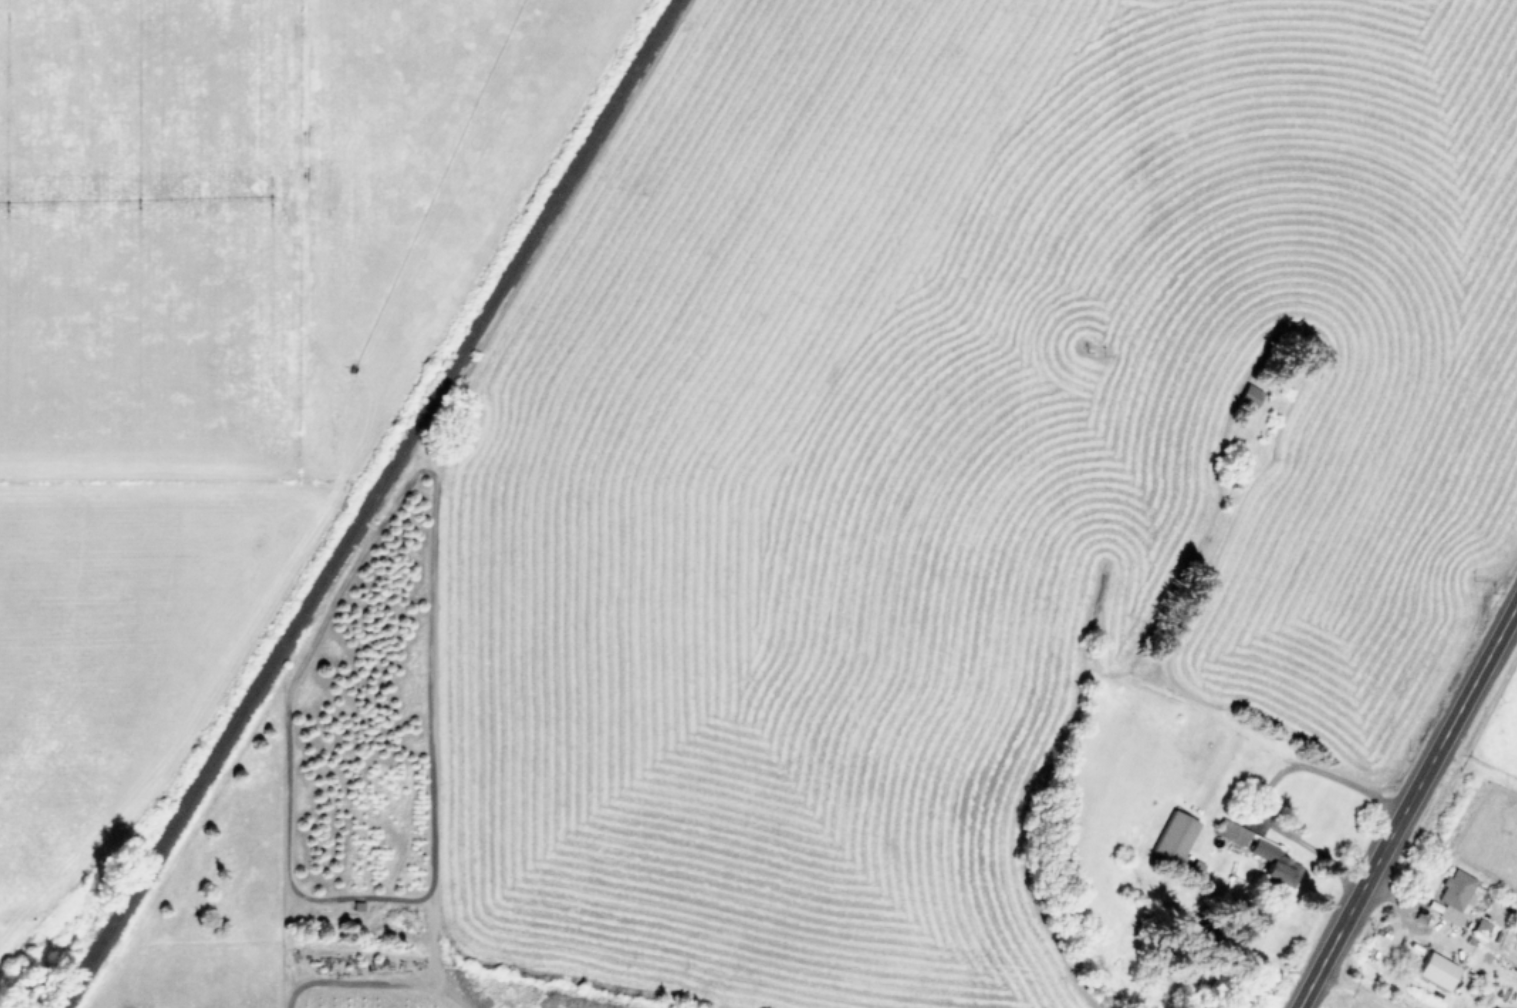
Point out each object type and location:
building: (1247, 399)
railway: (366, 504)
crop: (758, 504)
road: (1516, 608)
road: (1406, 806)
building: (1173, 837)
building: (1263, 857)
building: (1454, 897)
road: (429, 934)
building: (1433, 971)

